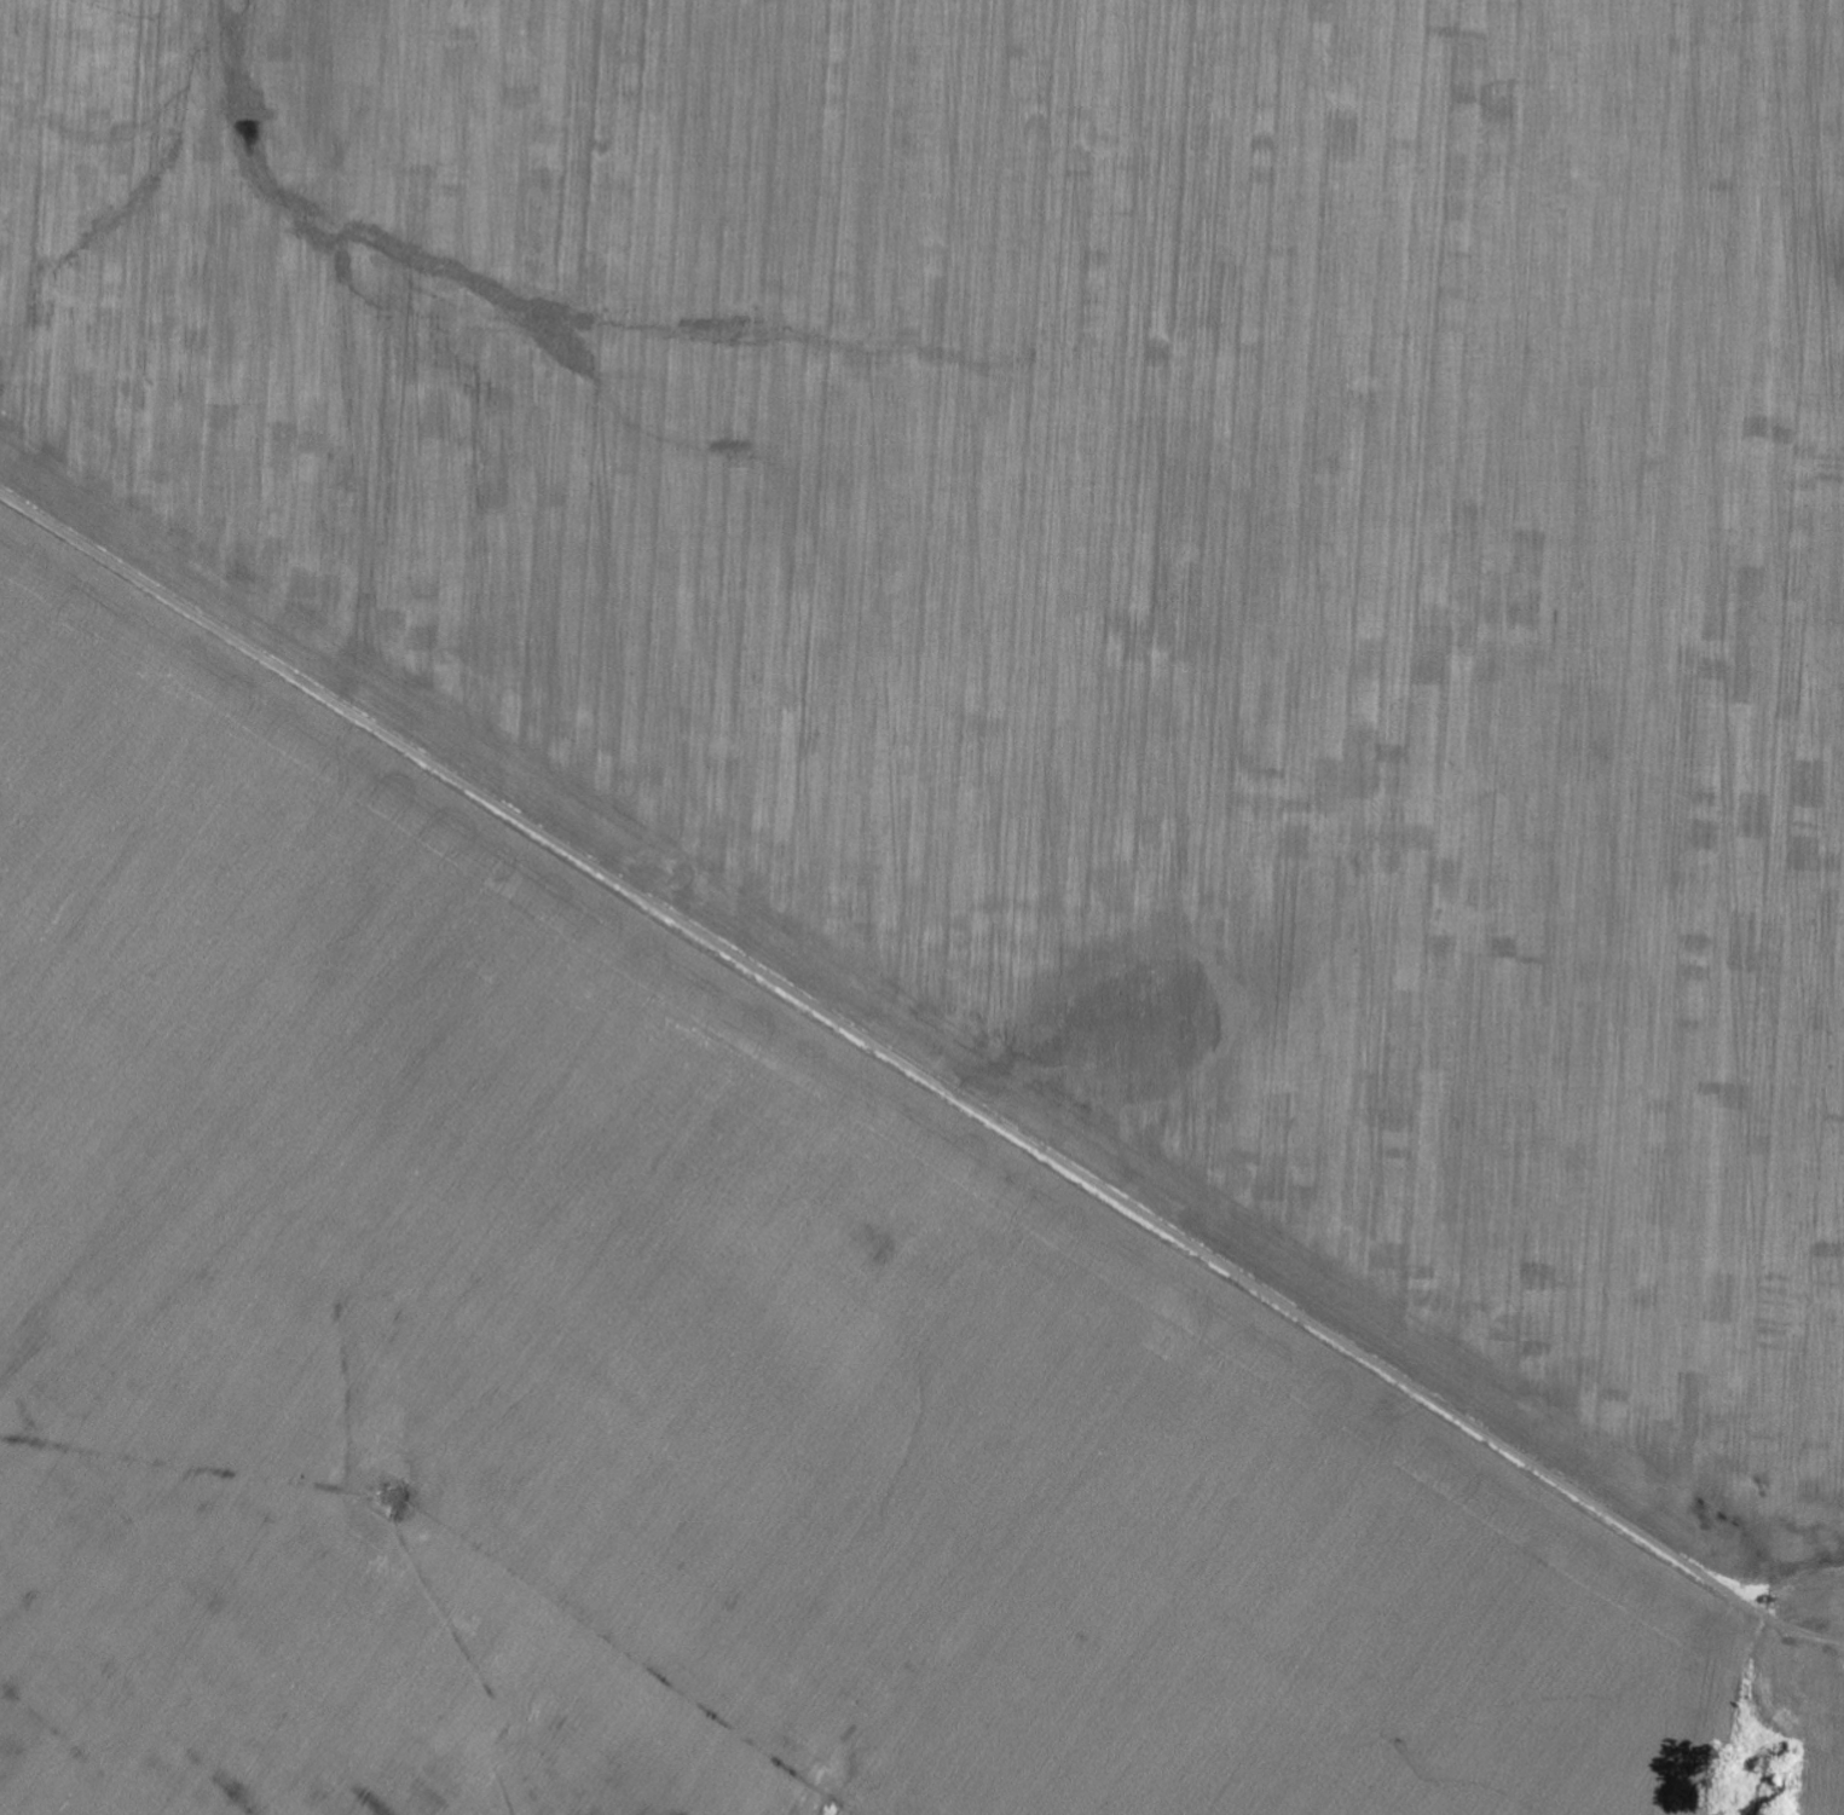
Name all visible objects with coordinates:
road: (919, 1073)

